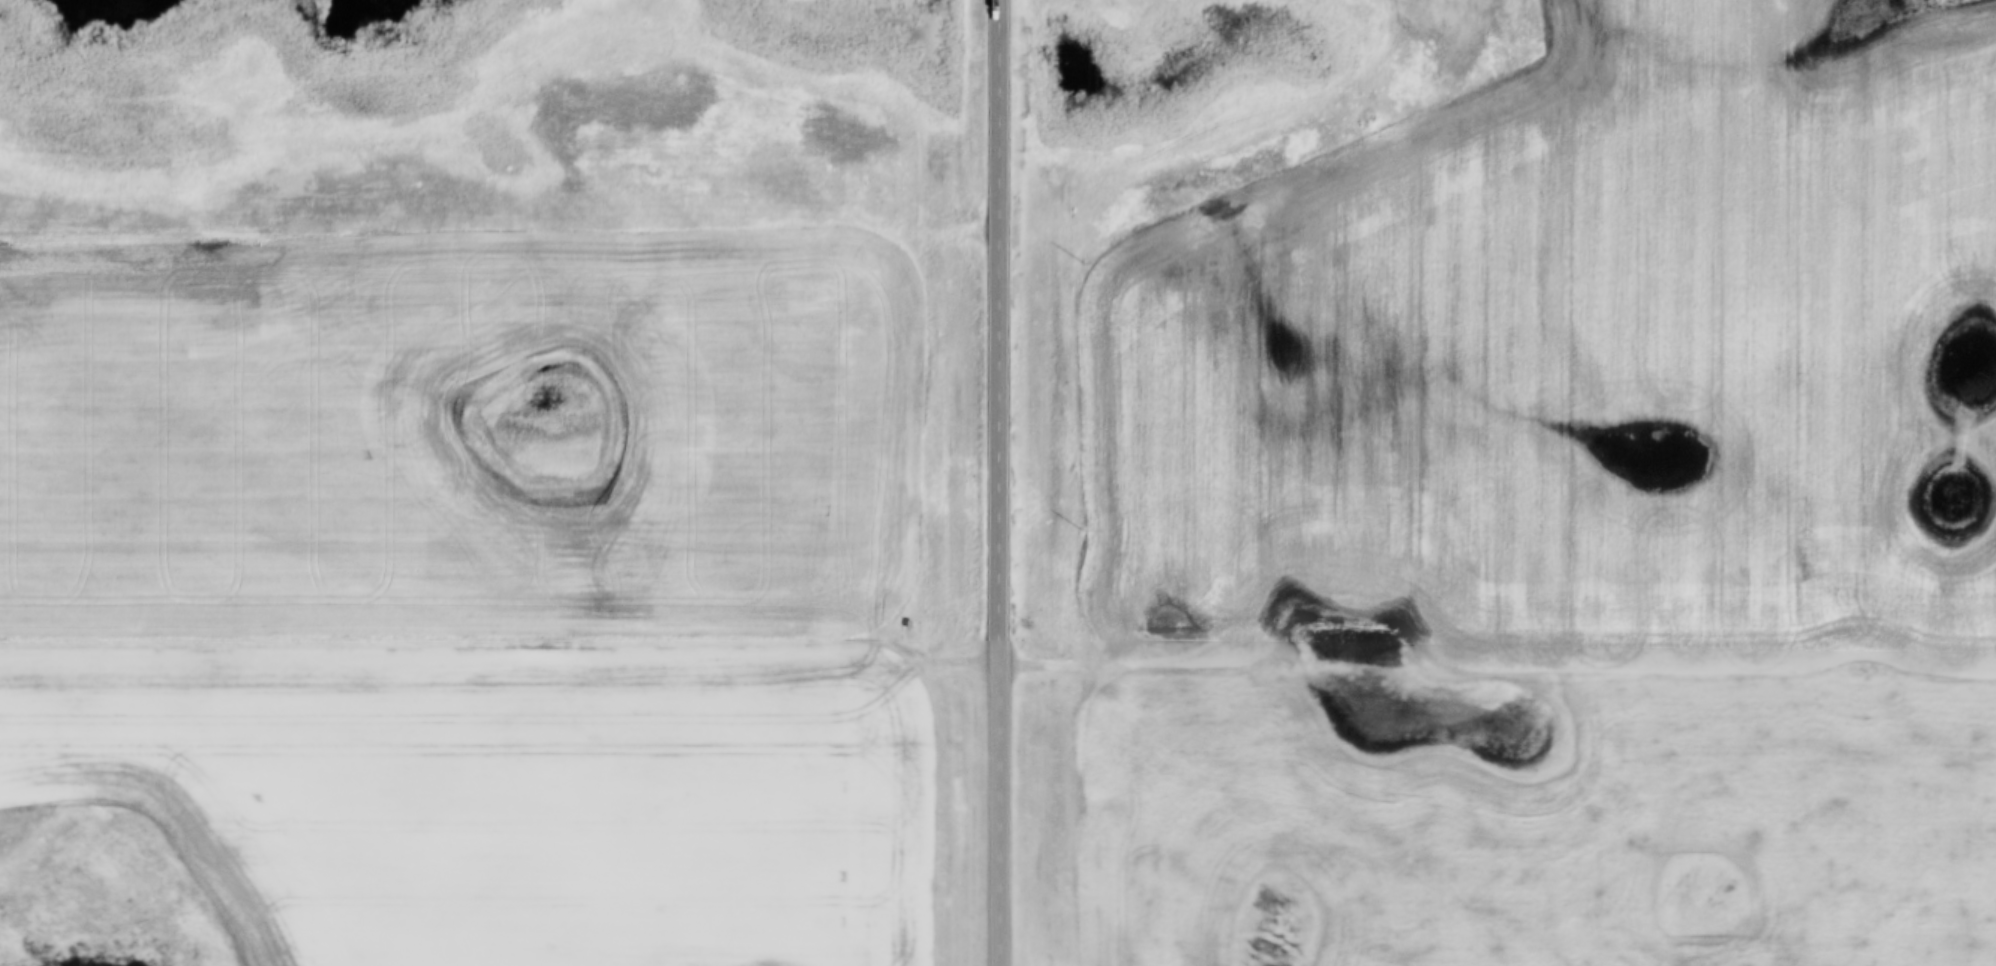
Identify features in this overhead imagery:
road: (1000, 483)

